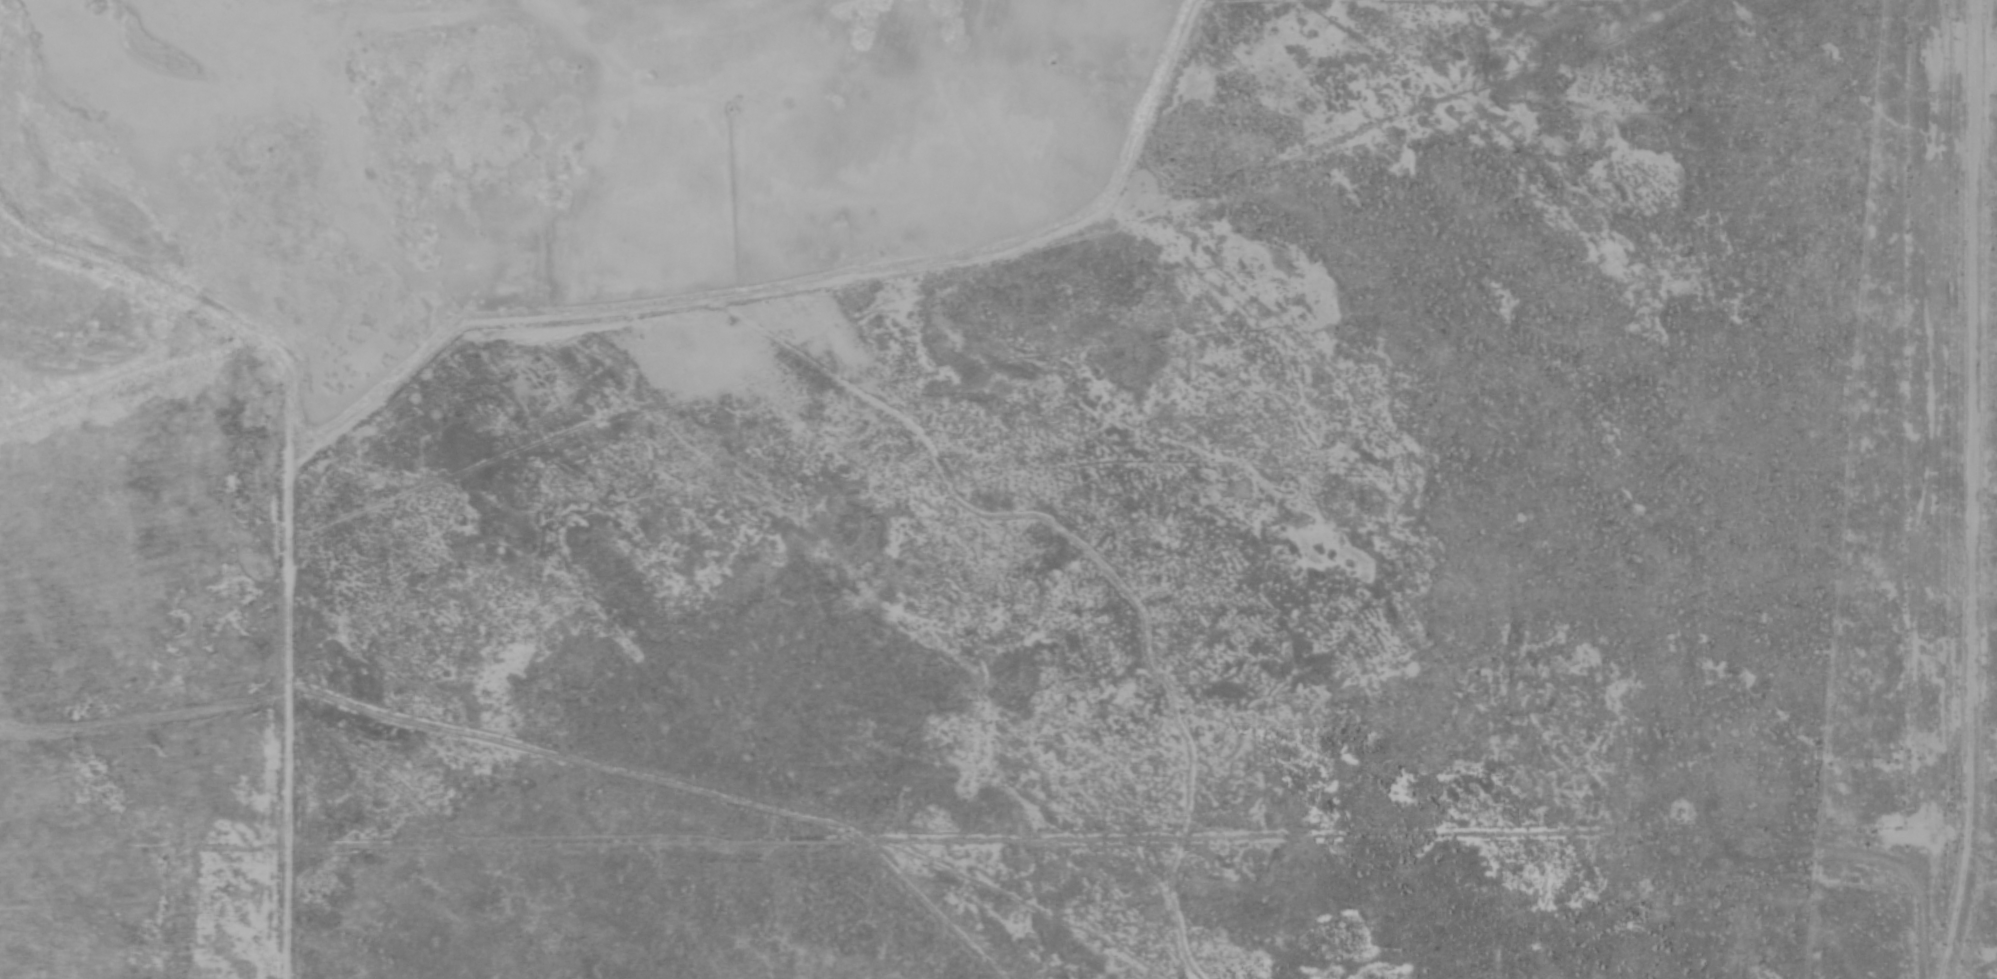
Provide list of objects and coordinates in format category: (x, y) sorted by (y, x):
road: (1967, 491)

